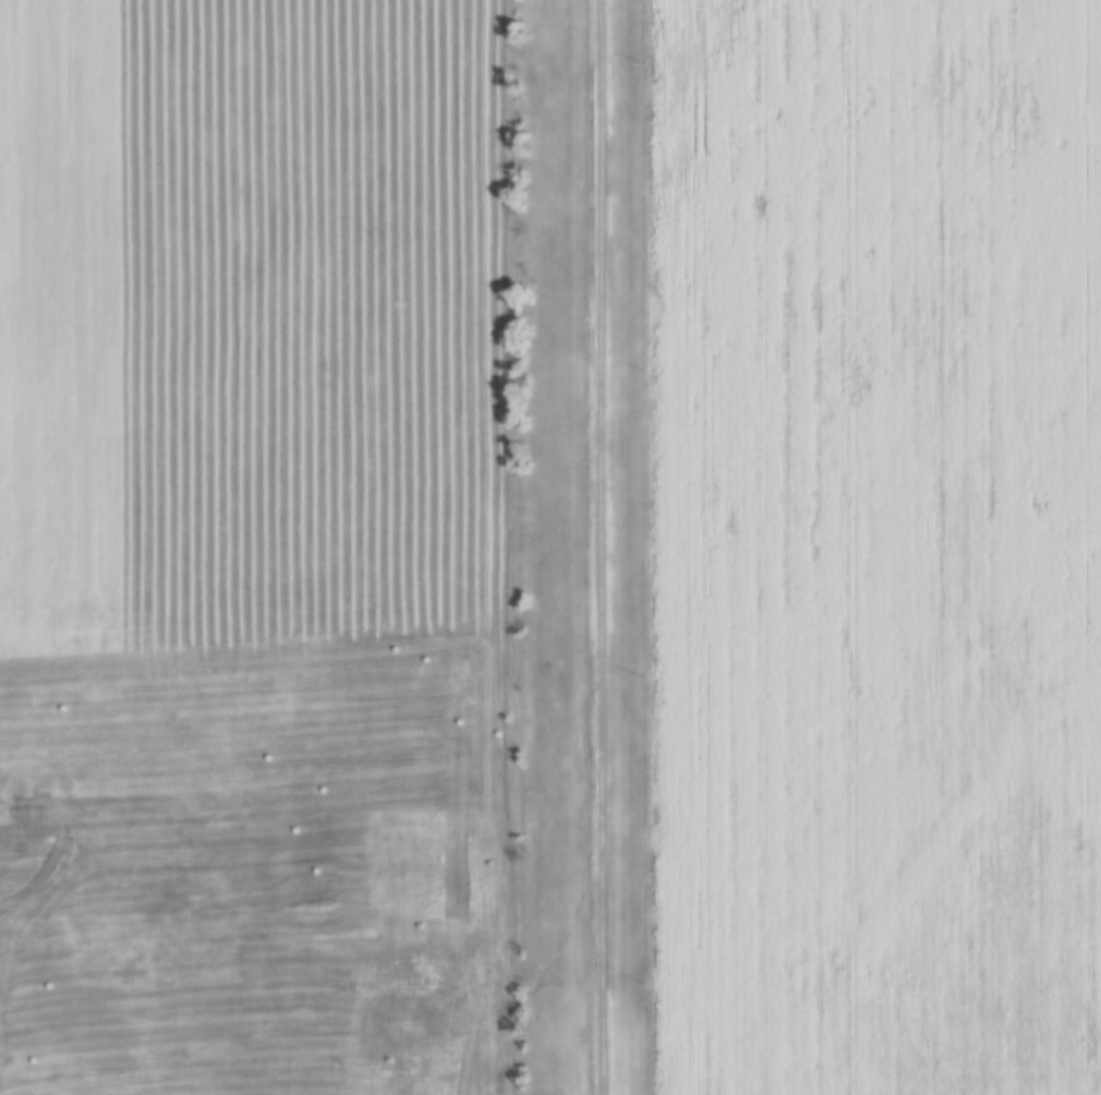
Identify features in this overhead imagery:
road: (598, 547)

